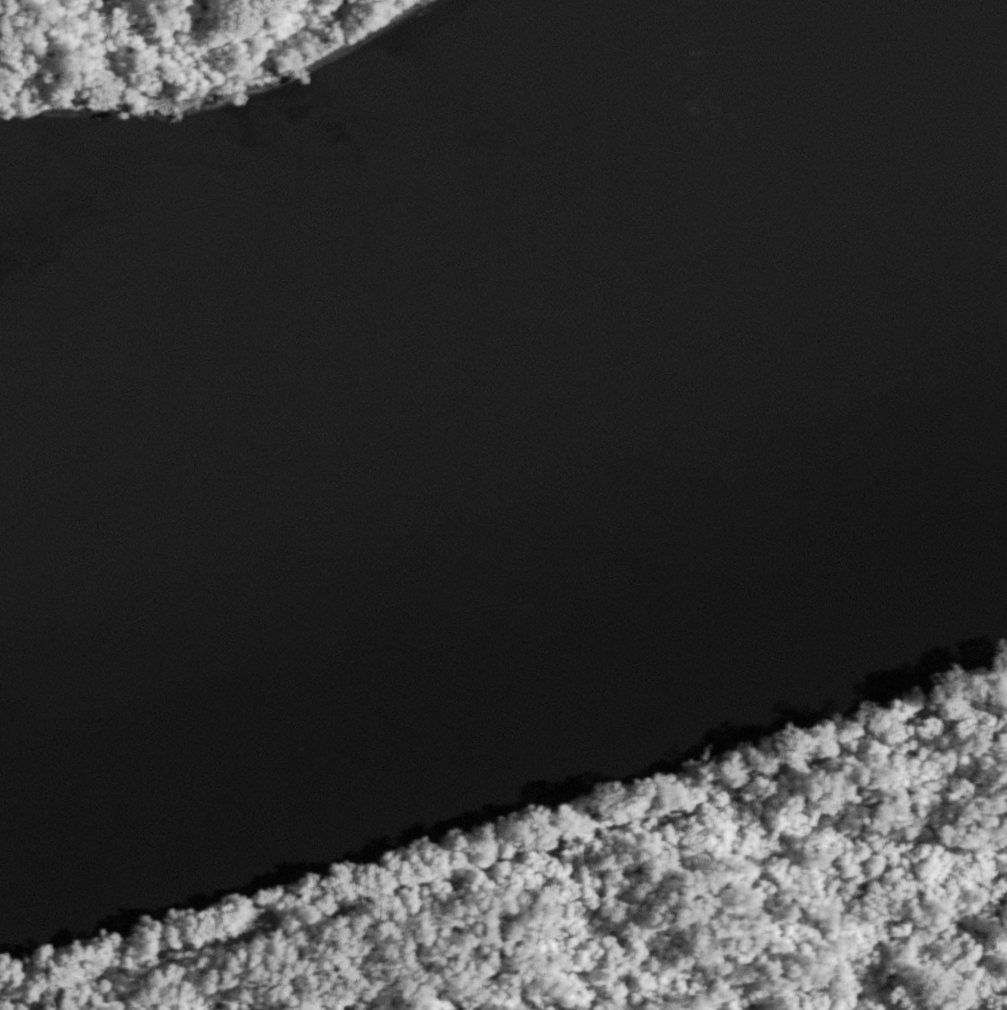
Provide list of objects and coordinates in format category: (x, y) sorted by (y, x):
river: (515, 434)

